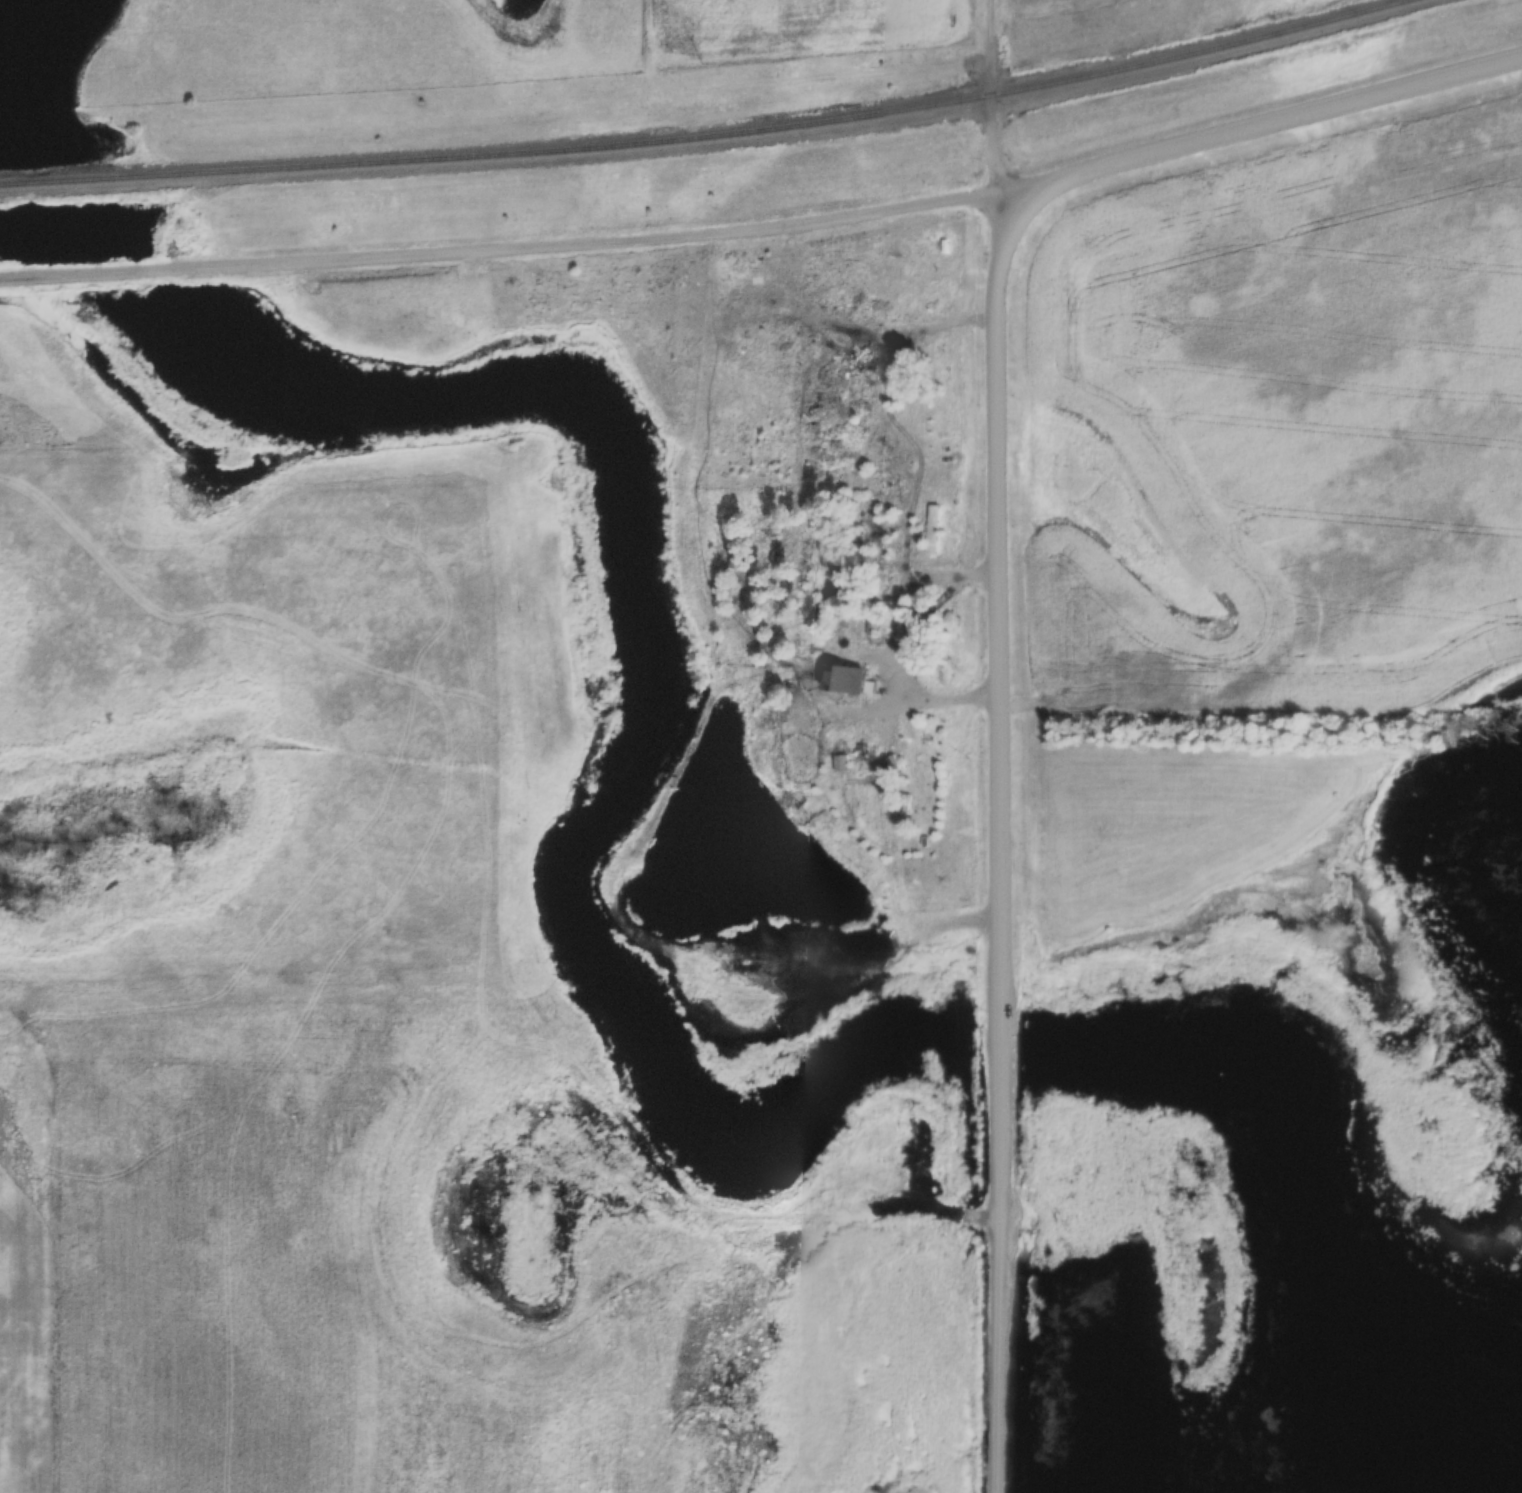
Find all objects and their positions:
road: (1261, 120)
railway: (709, 134)
road: (502, 251)
road: (856, 314)
road: (897, 437)
road: (897, 645)
building: (845, 678)
road: (1005, 743)

